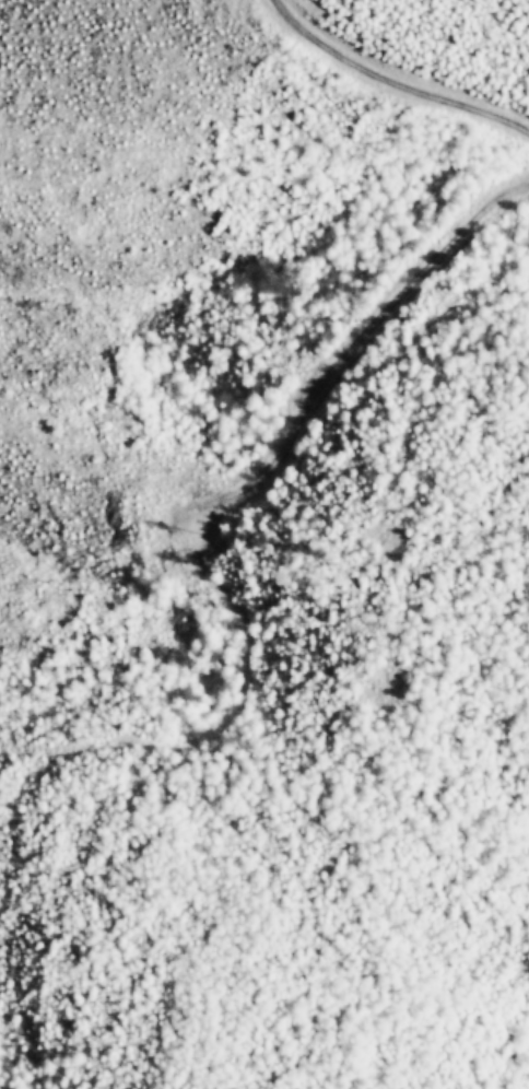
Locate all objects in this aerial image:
road: (393, 73)
road: (340, 331)

